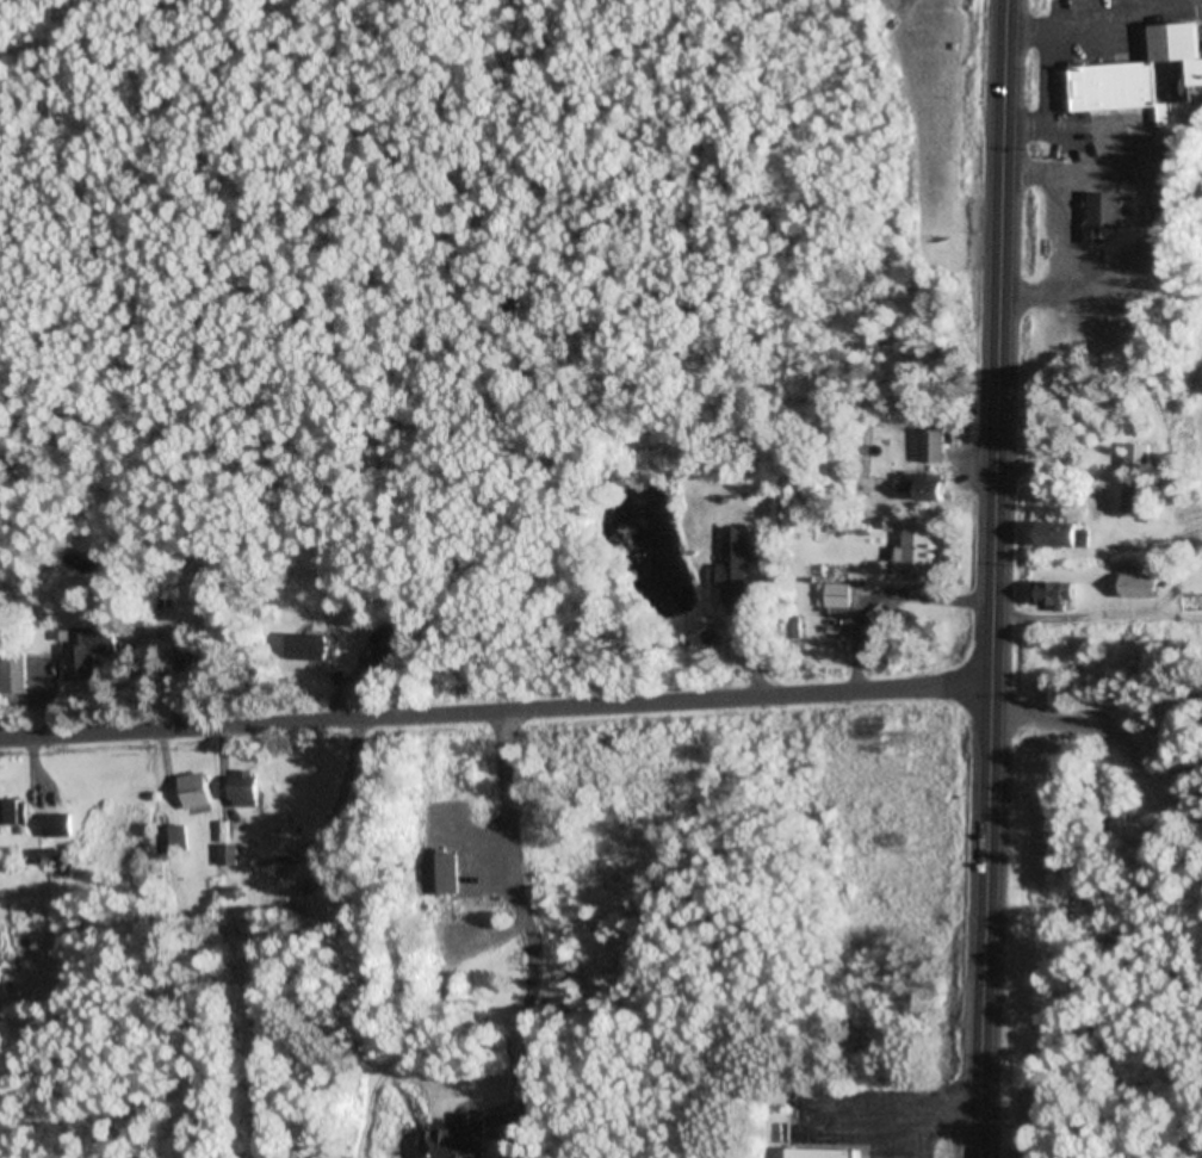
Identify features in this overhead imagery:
building: (1146, 78)
building: (1109, 216)
building: (935, 445)
building: (1142, 458)
building: (931, 488)
building: (1142, 495)
building: (1071, 535)
building: (917, 550)
building: (736, 571)
road: (993, 578)
building: (1144, 586)
building: (1057, 596)
building: (836, 601)
building: (390, 644)
building: (311, 648)
building: (88, 651)
building: (200, 659)
building: (16, 674)
road: (496, 717)
building: (249, 788)
building: (200, 792)
building: (16, 810)
building: (62, 824)
building: (174, 840)
building: (230, 855)
building: (60, 857)
building: (440, 872)
building: (461, 1139)
building: (830, 1151)

